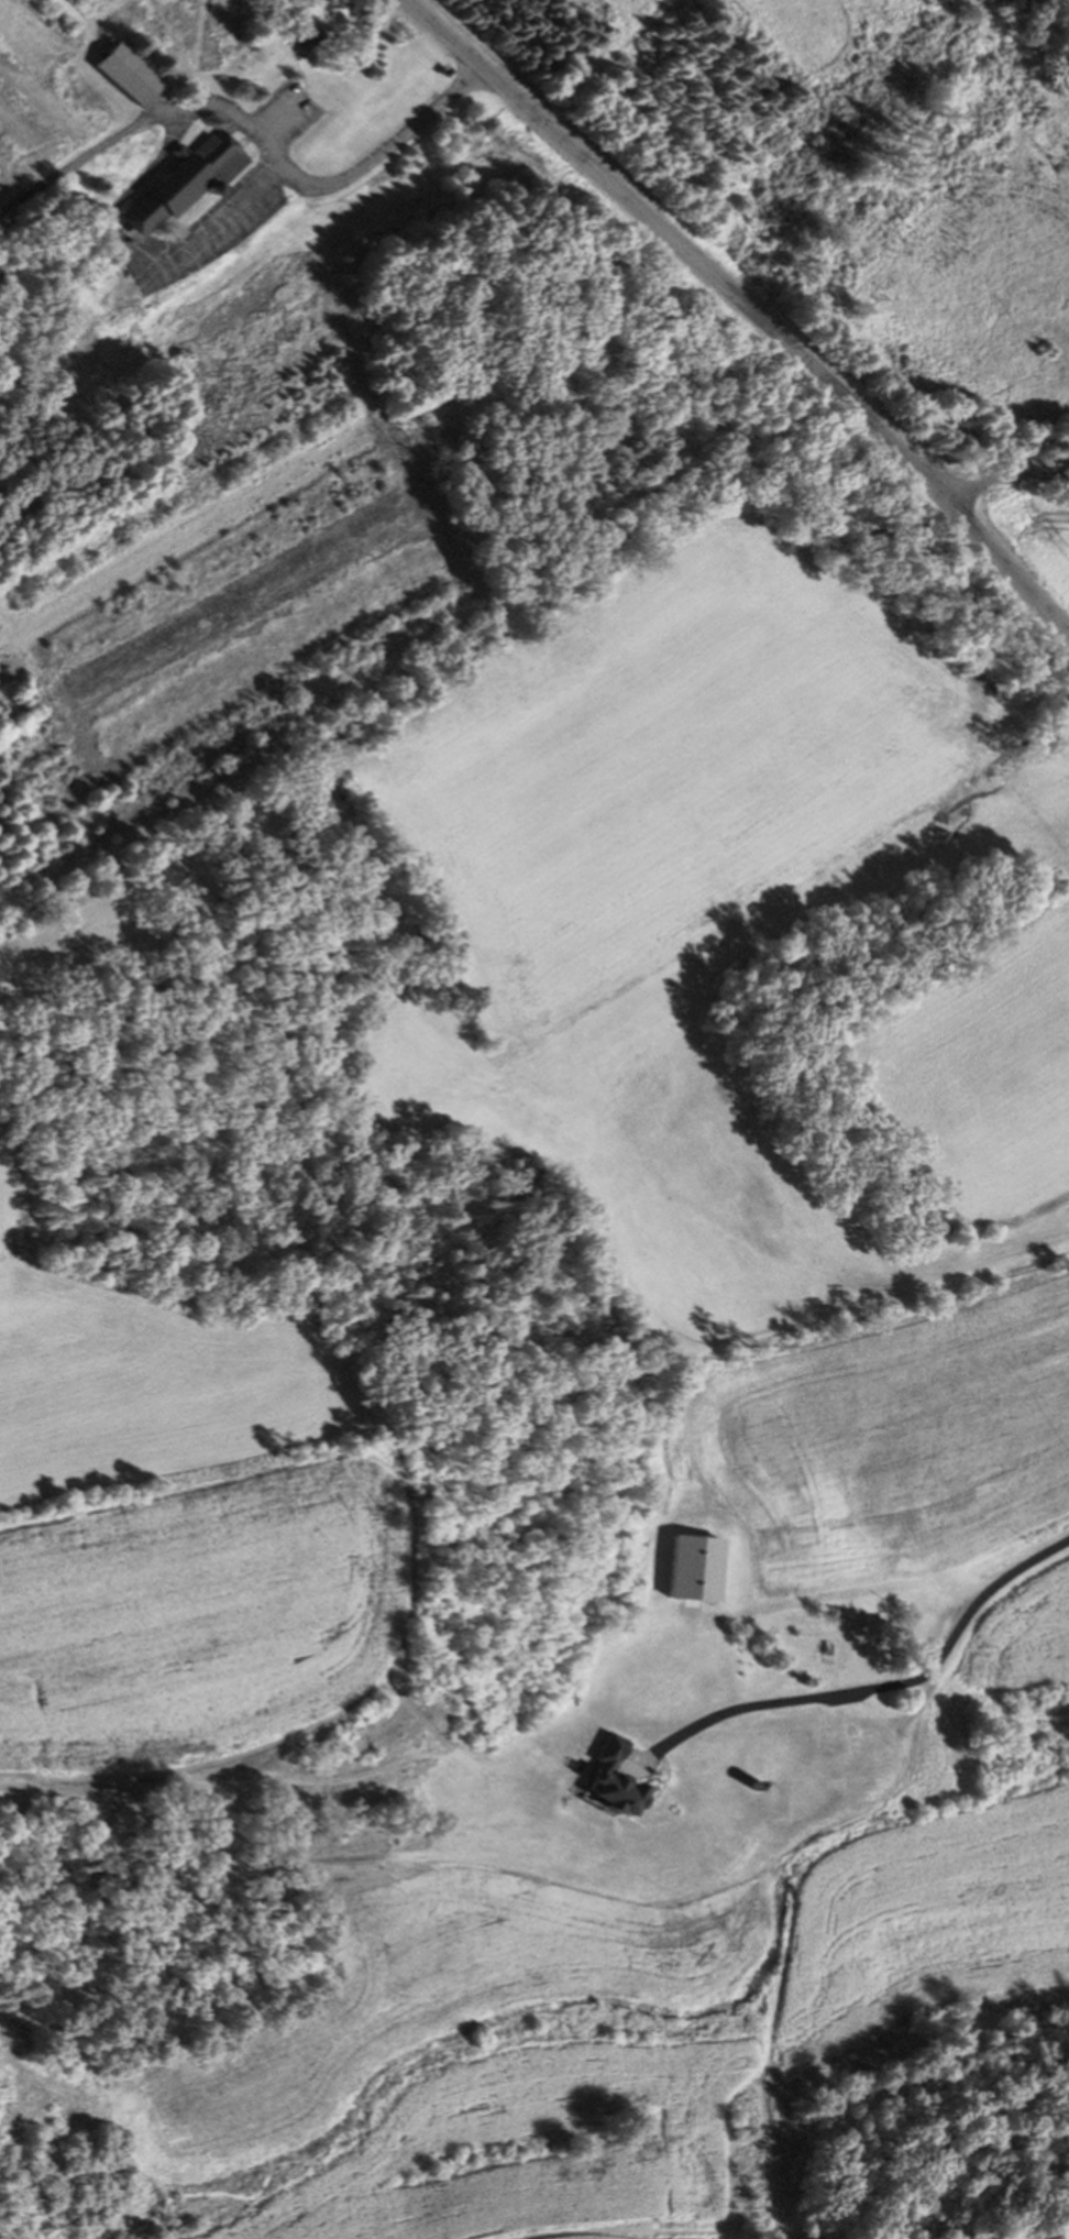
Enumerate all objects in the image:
building: (304, 23)
road: (600, 59)
building: (136, 75)
road: (252, 135)
building: (174, 188)
road: (128, 253)
road: (746, 308)
road: (1001, 476)
road: (978, 1613)
building: (834, 1654)
building: (922, 1749)
road: (505, 1780)
building: (781, 1780)

